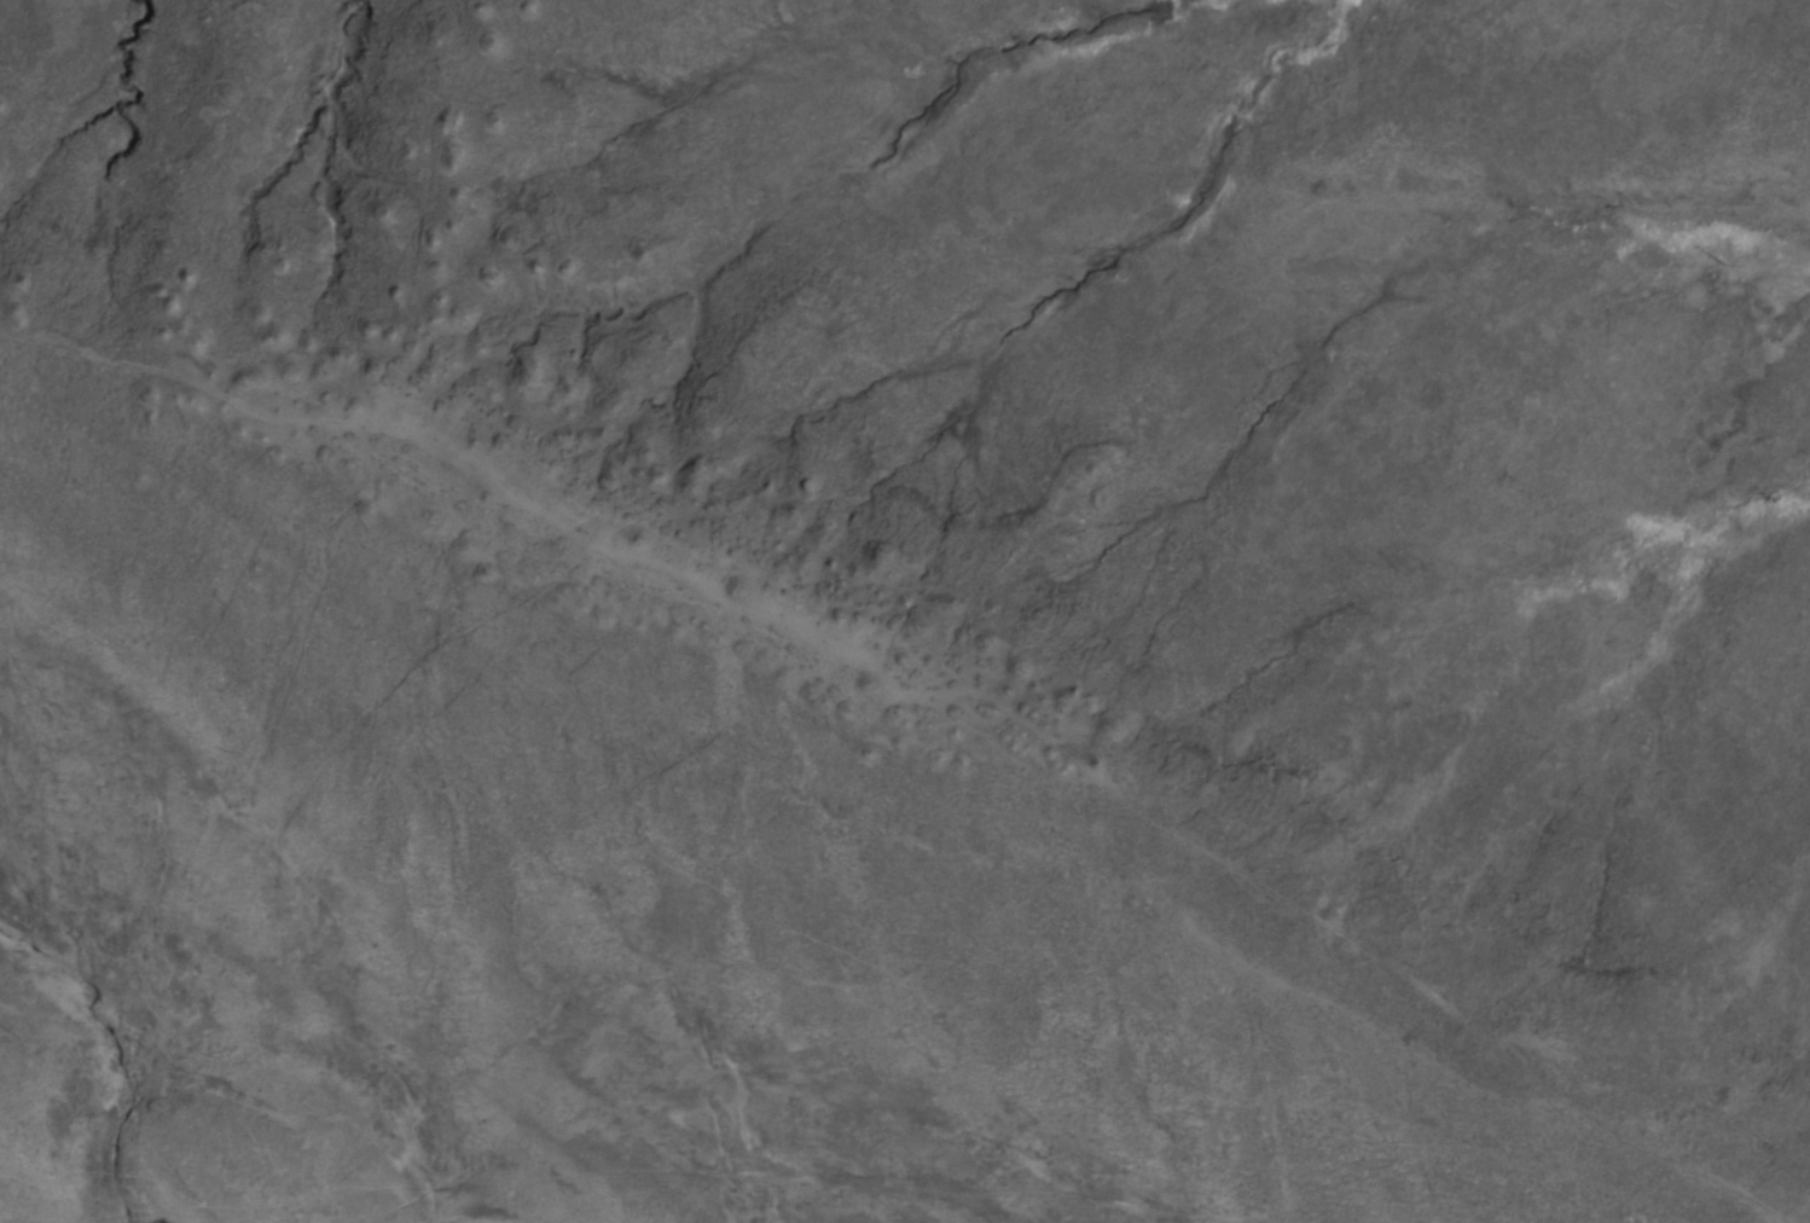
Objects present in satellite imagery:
power tower: (1733, 266)

